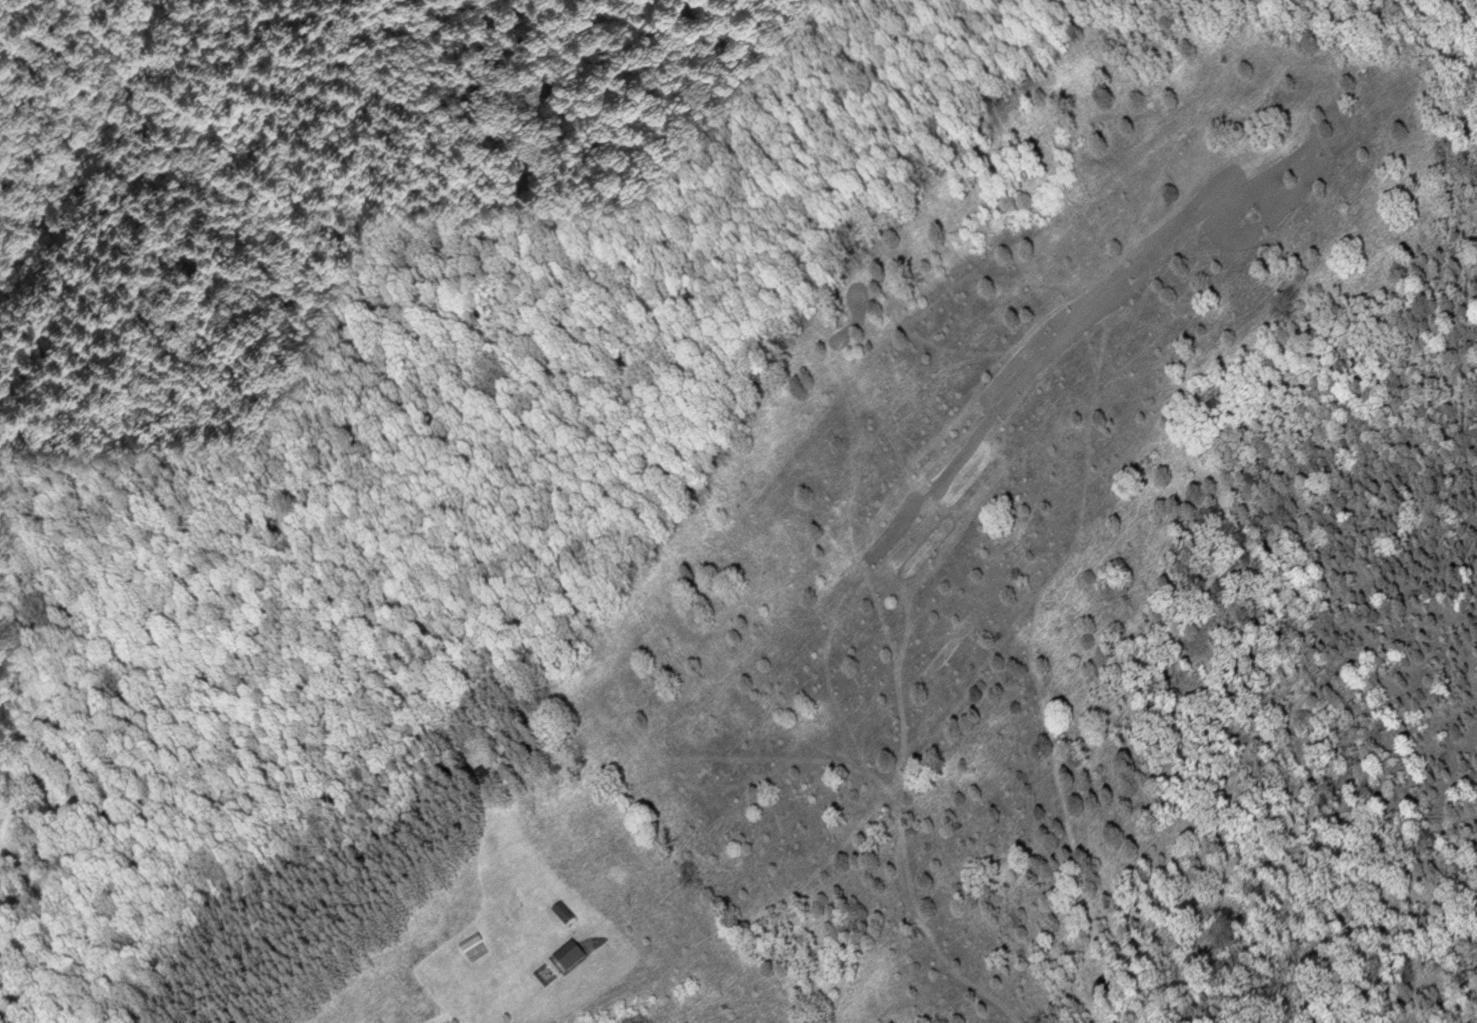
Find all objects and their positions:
building: (488, 778)
building: (567, 914)
building: (475, 948)
building: (575, 958)
road: (474, 1017)

